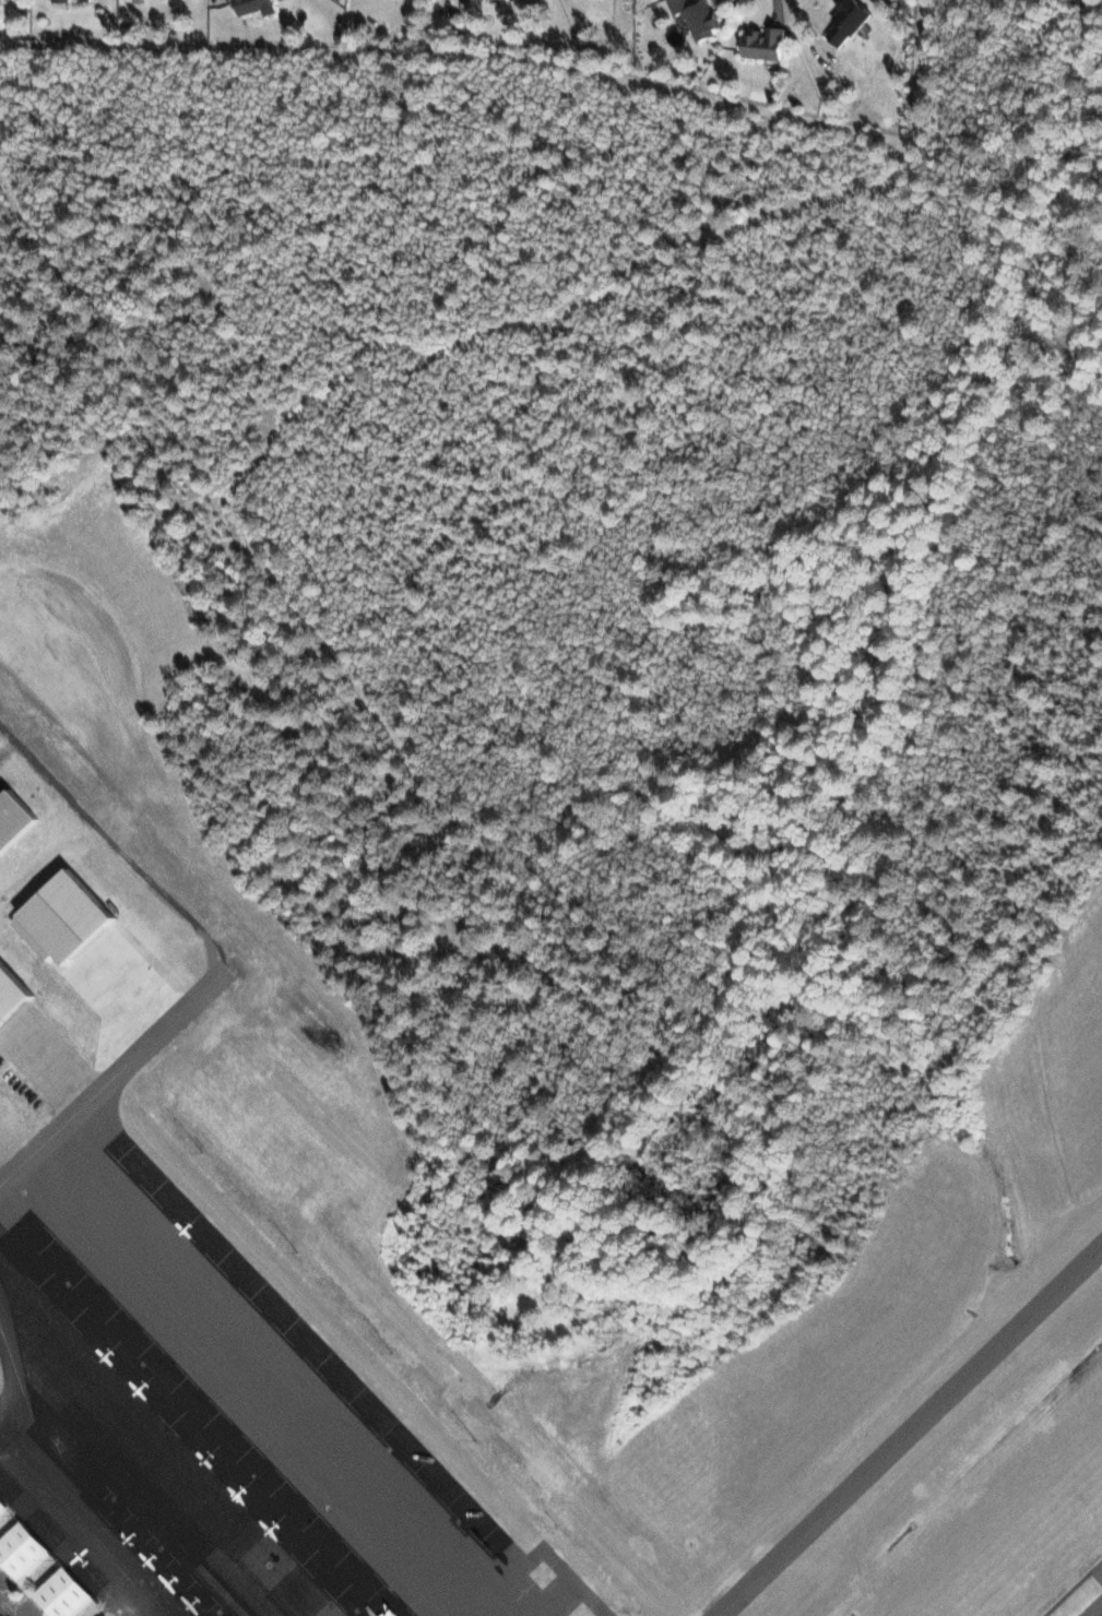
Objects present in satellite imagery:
building: (62, 0)
building: (141, 1)
building: (258, 7)
building: (701, 17)
road: (784, 17)
building: (851, 20)
building: (768, 44)
airport hangar: (16, 818)
building: (16, 818)
airport apron: (17, 822)
airport hangar: (12, 991)
building: (13, 993)
airport: (183, 1065)
airport apron: (201, 1413)
airport taxiway: (909, 1430)
airport hangar: (1, 1505)
building: (1, 1505)
airport hangar: (20, 1549)
building: (20, 1549)
airport hangar: (60, 1593)
building: (60, 1593)

